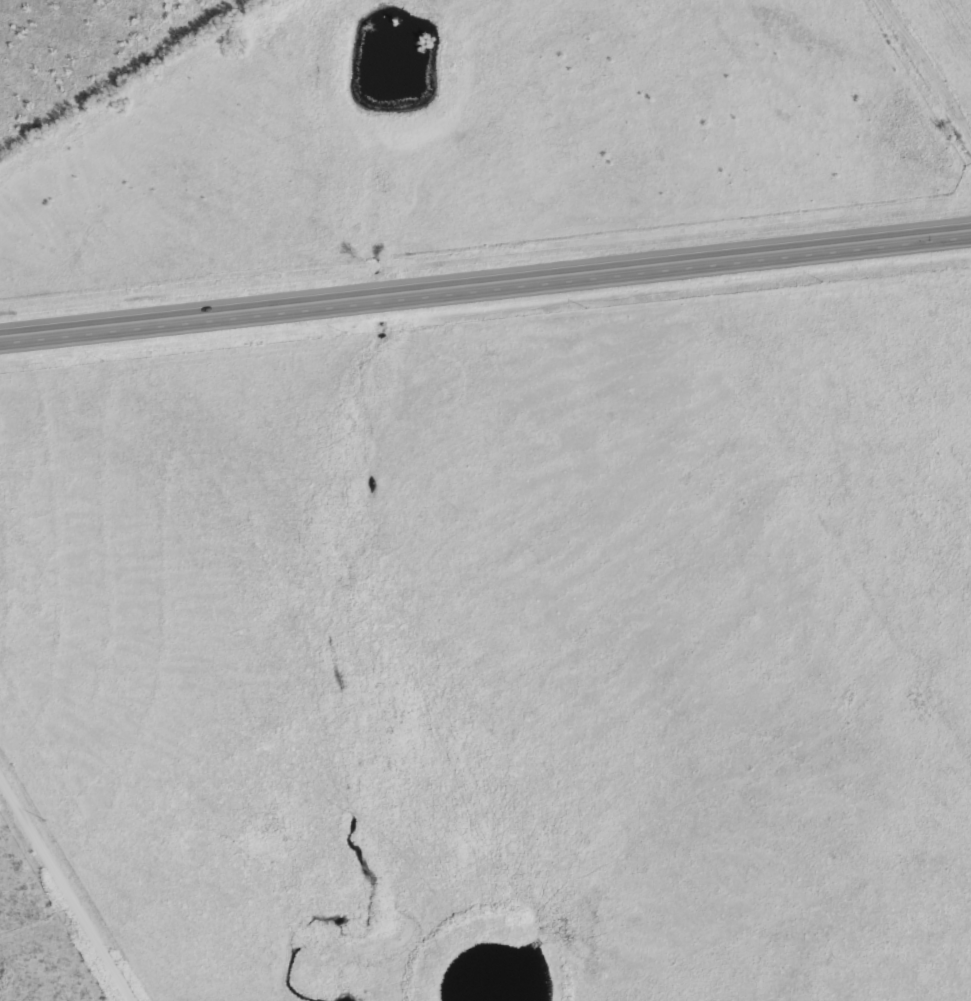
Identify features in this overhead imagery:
road: (922, 77)
road: (485, 277)
road: (69, 884)

